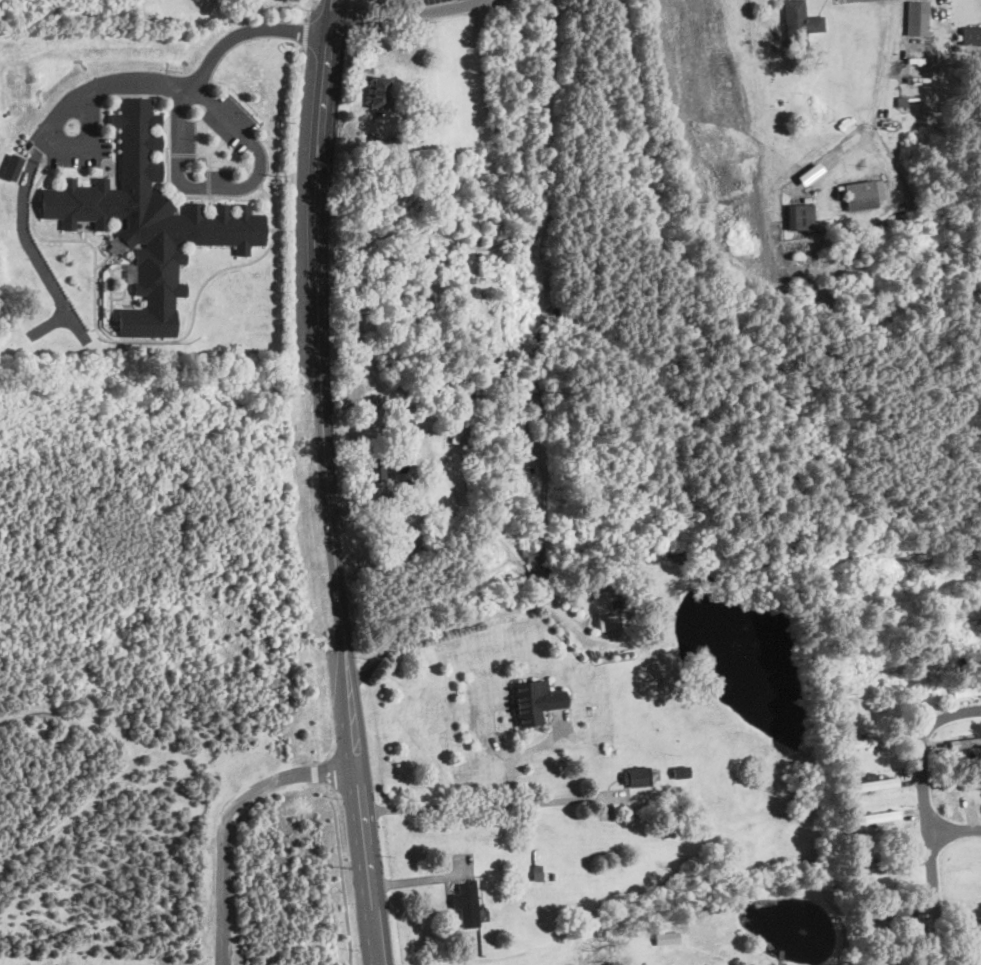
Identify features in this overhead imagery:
building: (175, 4)
road: (404, 14)
building: (915, 18)
building: (797, 23)
road: (303, 33)
building: (970, 35)
road: (885, 58)
road: (136, 83)
building: (377, 91)
road: (858, 151)
building: (11, 166)
road: (232, 186)
building: (860, 194)
road: (289, 207)
building: (797, 216)
building: (148, 221)
road: (276, 229)
road: (123, 338)
building: (377, 471)
building: (398, 480)
road: (326, 483)
building: (607, 621)
road: (467, 624)
building: (966, 689)
building: (534, 700)
building: (868, 739)
building: (964, 742)
building: (680, 771)
building: (636, 775)
building: (972, 781)
building: (872, 782)
road: (558, 799)
road: (456, 804)
building: (876, 816)
road: (224, 817)
road: (933, 819)
road: (959, 831)
building: (880, 864)
road: (343, 883)
building: (466, 903)
building: (665, 937)

